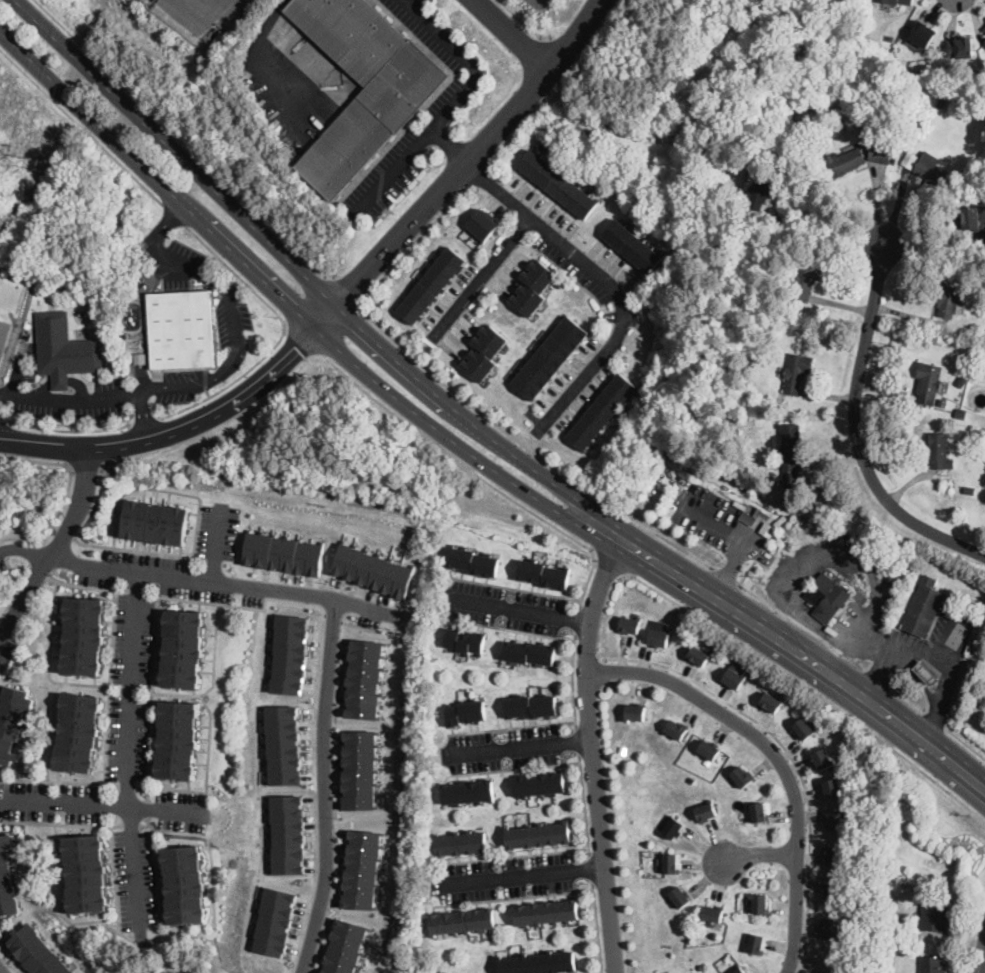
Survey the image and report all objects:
parking lot: (538, 2)
building: (901, 2)
road: (194, 14)
road: (523, 22)
building: (983, 26)
building: (984, 29)
parking lot: (429, 30)
road: (513, 32)
building: (922, 33)
building: (890, 37)
building: (984, 42)
building: (898, 46)
building: (960, 47)
road: (562, 48)
building: (888, 48)
road: (270, 55)
building: (918, 76)
road: (556, 87)
building: (941, 103)
road: (455, 105)
building: (382, 109)
building: (841, 118)
road: (81, 125)
building: (972, 130)
road: (184, 139)
building: (716, 141)
road: (450, 145)
building: (880, 153)
power tower: (22, 154)
parking lot: (404, 155)
building: (780, 156)
building: (910, 159)
building: (844, 160)
building: (931, 170)
road: (479, 172)
building: (557, 185)
building: (759, 192)
road: (174, 213)
building: (973, 218)
road: (821, 224)
building: (483, 225)
road: (161, 233)
building: (982, 237)
road: (412, 242)
building: (631, 246)
building: (818, 255)
road: (236, 272)
road: (480, 274)
building: (804, 279)
road: (606, 280)
building: (431, 285)
building: (533, 288)
road: (347, 289)
road: (343, 296)
building: (946, 298)
building: (26, 325)
building: (181, 329)
building: (4, 335)
road: (301, 337)
road: (236, 345)
building: (63, 349)
building: (484, 353)
building: (140, 357)
building: (549, 358)
building: (796, 372)
road: (205, 378)
road: (231, 380)
building: (928, 381)
building: (961, 381)
road: (62, 382)
road: (207, 392)
road: (0, 397)
road: (70, 399)
building: (942, 401)
building: (909, 402)
road: (144, 412)
building: (601, 412)
building: (960, 413)
road: (144, 419)
road: (4, 421)
road: (472, 422)
road: (69, 428)
road: (856, 429)
building: (978, 438)
road: (528, 447)
building: (789, 448)
road: (465, 450)
building: (938, 450)
road: (474, 473)
road: (69, 475)
building: (969, 489)
road: (163, 490)
building: (748, 516)
building: (155, 521)
road: (65, 530)
parking lot: (218, 531)
road: (736, 532)
road: (30, 537)
road: (56, 545)
road: (216, 545)
road: (137, 550)
building: (283, 552)
road: (34, 553)
road: (853, 558)
parking lot: (2, 562)
building: (473, 562)
building: (371, 567)
road: (609, 568)
road: (9, 569)
road: (37, 569)
road: (725, 573)
building: (544, 574)
road: (199, 579)
road: (86, 585)
road: (15, 589)
road: (516, 589)
building: (829, 595)
building: (923, 607)
road: (519, 610)
road: (331, 617)
road: (576, 619)
road: (215, 621)
road: (801, 624)
road: (358, 625)
building: (629, 625)
road: (512, 630)
road: (943, 633)
building: (83, 636)
building: (658, 638)
building: (465, 642)
building: (182, 647)
road: (588, 651)
building: (289, 652)
building: (529, 653)
building: (698, 656)
road: (47, 658)
road: (936, 659)
building: (926, 673)
road: (877, 674)
building: (364, 677)
building: (734, 678)
road: (572, 681)
road: (108, 686)
road: (131, 688)
road: (808, 689)
road: (150, 696)
road: (907, 696)
building: (982, 702)
building: (770, 703)
building: (531, 706)
building: (466, 712)
building: (635, 712)
road: (934, 717)
building: (12, 722)
road: (512, 727)
building: (675, 729)
building: (803, 729)
road: (50, 730)
building: (78, 731)
road: (313, 733)
building: (177, 739)
road: (965, 740)
road: (578, 741)
building: (283, 743)
road: (519, 747)
road: (592, 748)
building: (709, 750)
road: (207, 751)
road: (791, 757)
road: (777, 758)
building: (822, 759)
building: (707, 761)
building: (359, 768)
road: (514, 768)
building: (742, 777)
road: (59, 780)
road: (126, 784)
building: (539, 785)
road: (323, 786)
building: (833, 789)
building: (467, 792)
road: (100, 804)
road: (583, 805)
road: (146, 808)
building: (758, 812)
building: (705, 813)
building: (834, 820)
road: (60, 823)
road: (130, 824)
building: (674, 828)
building: (287, 833)
building: (538, 835)
building: (461, 844)
road: (756, 853)
road: (514, 855)
building: (833, 855)
building: (670, 863)
road: (133, 864)
building: (361, 868)
road: (591, 868)
building: (86, 872)
road: (155, 872)
road: (520, 875)
building: (6, 878)
road: (113, 878)
building: (184, 883)
building: (832, 893)
road: (514, 897)
building: (680, 898)
building: (760, 904)
building: (546, 913)
building: (713, 914)
building: (935, 917)
building: (274, 920)
building: (462, 922)
road: (597, 927)
building: (831, 929)
road: (973, 935)
building: (755, 944)
building: (345, 946)
building: (35, 952)
road: (982, 957)
building: (828, 962)
building: (539, 963)
building: (931, 965)
building: (702, 966)
building: (739, 969)
road: (2, 970)

